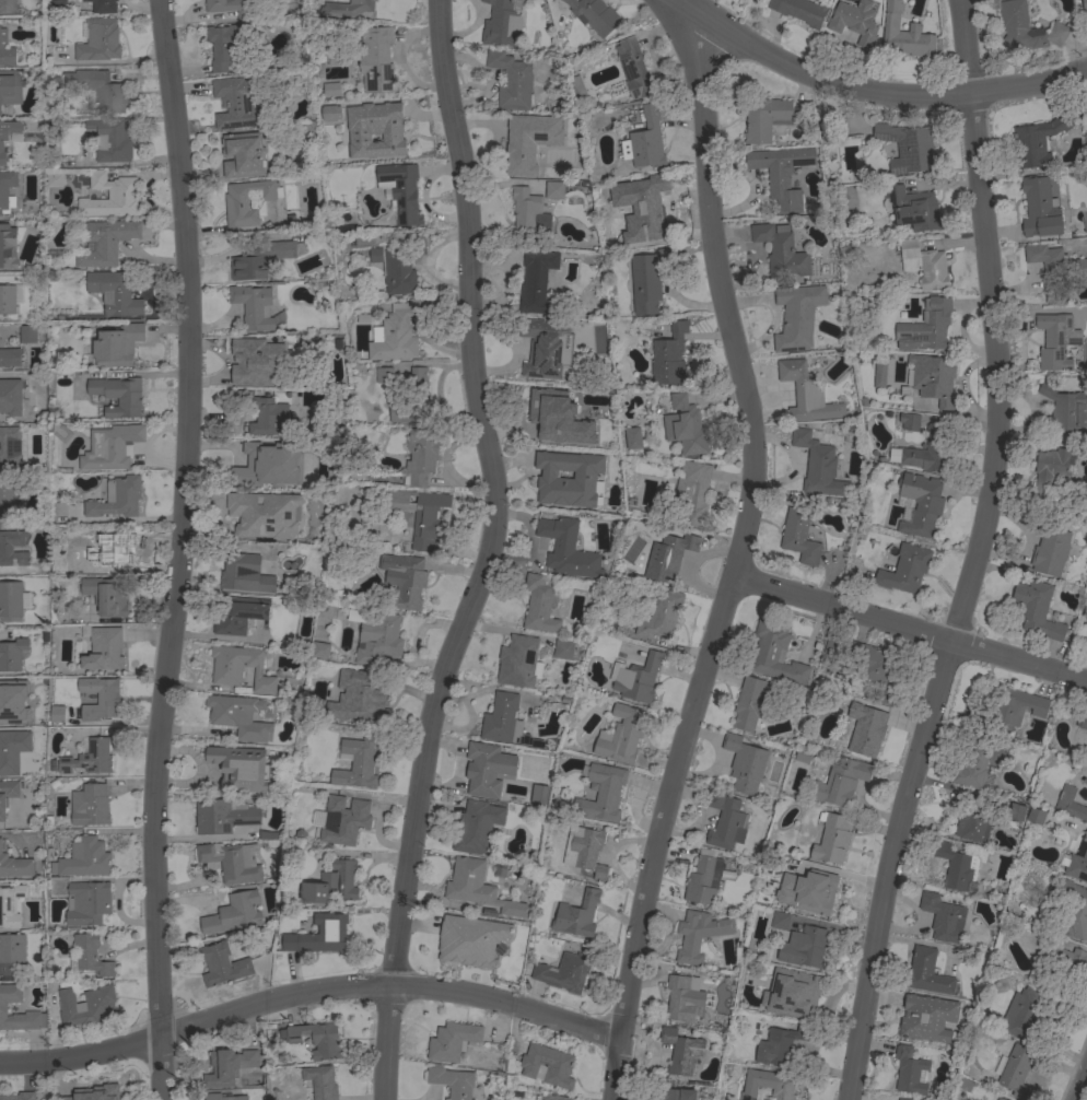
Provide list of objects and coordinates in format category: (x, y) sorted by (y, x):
building: (104, 5)
building: (229, 7)
building: (1084, 7)
building: (346, 8)
building: (800, 10)
building: (594, 15)
building: (855, 21)
building: (501, 24)
building: (1015, 27)
building: (904, 34)
road: (683, 38)
building: (98, 39)
road: (698, 40)
building: (223, 45)
building: (5, 50)
road: (716, 55)
building: (376, 58)
building: (633, 67)
building: (511, 80)
building: (576, 86)
building: (8, 87)
building: (100, 89)
building: (331, 89)
road: (877, 91)
building: (235, 102)
building: (0, 109)
building: (771, 118)
building: (384, 125)
building: (7, 136)
building: (110, 139)
building: (1040, 139)
building: (645, 141)
building: (908, 147)
building: (524, 152)
building: (243, 154)
building: (781, 174)
building: (54, 179)
building: (554, 189)
building: (7, 190)
building: (401, 190)
building: (109, 196)
building: (248, 201)
building: (914, 208)
building: (1040, 209)
building: (648, 210)
building: (528, 214)
building: (105, 242)
building: (8, 246)
building: (781, 250)
building: (260, 259)
building: (924, 264)
building: (1053, 265)
building: (399, 266)
building: (537, 280)
building: (647, 280)
building: (114, 292)
building: (8, 300)
building: (255, 307)
building: (792, 320)
building: (928, 327)
building: (396, 332)
building: (27, 333)
building: (1055, 340)
building: (117, 346)
building: (541, 349)
building: (669, 355)
building: (10, 358)
building: (259, 358)
building: (383, 374)
building: (879, 374)
building: (933, 376)
building: (119, 395)
building: (809, 395)
building: (10, 396)
building: (413, 401)
building: (1065, 410)
building: (266, 414)
building: (541, 414)
building: (909, 420)
building: (685, 425)
building: (632, 436)
building: (8, 443)
building: (110, 446)
building: (928, 449)
building: (420, 455)
building: (600, 459)
building: (818, 465)
building: (253, 467)
building: (1051, 468)
building: (551, 481)
building: (692, 492)
building: (9, 498)
building: (117, 498)
building: (921, 504)
building: (55, 513)
building: (264, 514)
building: (420, 515)
building: (797, 531)
building: (5, 548)
building: (566, 548)
road: (175, 549)
building: (113, 550)
building: (1050, 551)
road: (489, 552)
road: (971, 554)
building: (669, 555)
building: (904, 569)
building: (242, 575)
building: (405, 578)
road: (728, 593)
building: (106, 595)
building: (12, 600)
building: (540, 602)
building: (1036, 608)
building: (238, 613)
building: (661, 615)
road: (911, 625)
building: (377, 637)
building: (103, 647)
building: (563, 648)
building: (318, 650)
building: (775, 653)
building: (12, 654)
building: (519, 662)
building: (869, 663)
building: (239, 667)
building: (636, 678)
building: (100, 699)
building: (358, 699)
building: (14, 702)
building: (751, 703)
building: (1018, 707)
building: (50, 715)
building: (239, 716)
building: (505, 721)
building: (1082, 722)
building: (865, 728)
building: (621, 735)
building: (12, 750)
building: (803, 753)
building: (89, 758)
building: (236, 762)
building: (357, 762)
building: (743, 763)
building: (973, 765)
building: (484, 769)
building: (1086, 780)
building: (841, 782)
building: (601, 793)
building: (8, 794)
building: (1070, 804)
building: (90, 805)
building: (223, 815)
building: (1035, 815)
building: (343, 820)
building: (725, 821)
building: (973, 823)
building: (477, 827)
building: (270, 834)
building: (831, 838)
building: (586, 851)
building: (83, 857)
building: (232, 861)
building: (1076, 861)
building: (14, 864)
building: (956, 866)
building: (701, 881)
building: (332, 882)
building: (477, 887)
building: (809, 890)
building: (87, 903)
building: (10, 905)
building: (1075, 909)
building: (234, 913)
building: (576, 915)
building: (943, 917)
building: (779, 920)
building: (699, 934)
building: (320, 935)
building: (470, 939)
building: (804, 947)
building: (11, 953)
building: (90, 955)
building: (222, 963)
building: (1065, 967)
building: (564, 971)
building: (927, 972)
building: (791, 993)
road: (307, 997)
building: (681, 998)
building: (86, 1005)
building: (3, 1006)
building: (1022, 1010)
building: (914, 1017)
building: (317, 1039)
building: (452, 1040)
building: (779, 1044)
building: (681, 1050)
building: (547, 1065)
building: (227, 1066)
building: (909, 1070)
building: (1016, 1070)
building: (320, 1081)
building: (452, 1081)
building: (768, 1085)
road: (1080, 1085)
building: (95, 1092)
building: (676, 1093)
building: (19, 1096)
building: (224, 1097)
building: (553, 1097)
building: (903, 1099)
building: (1000, 1099)

